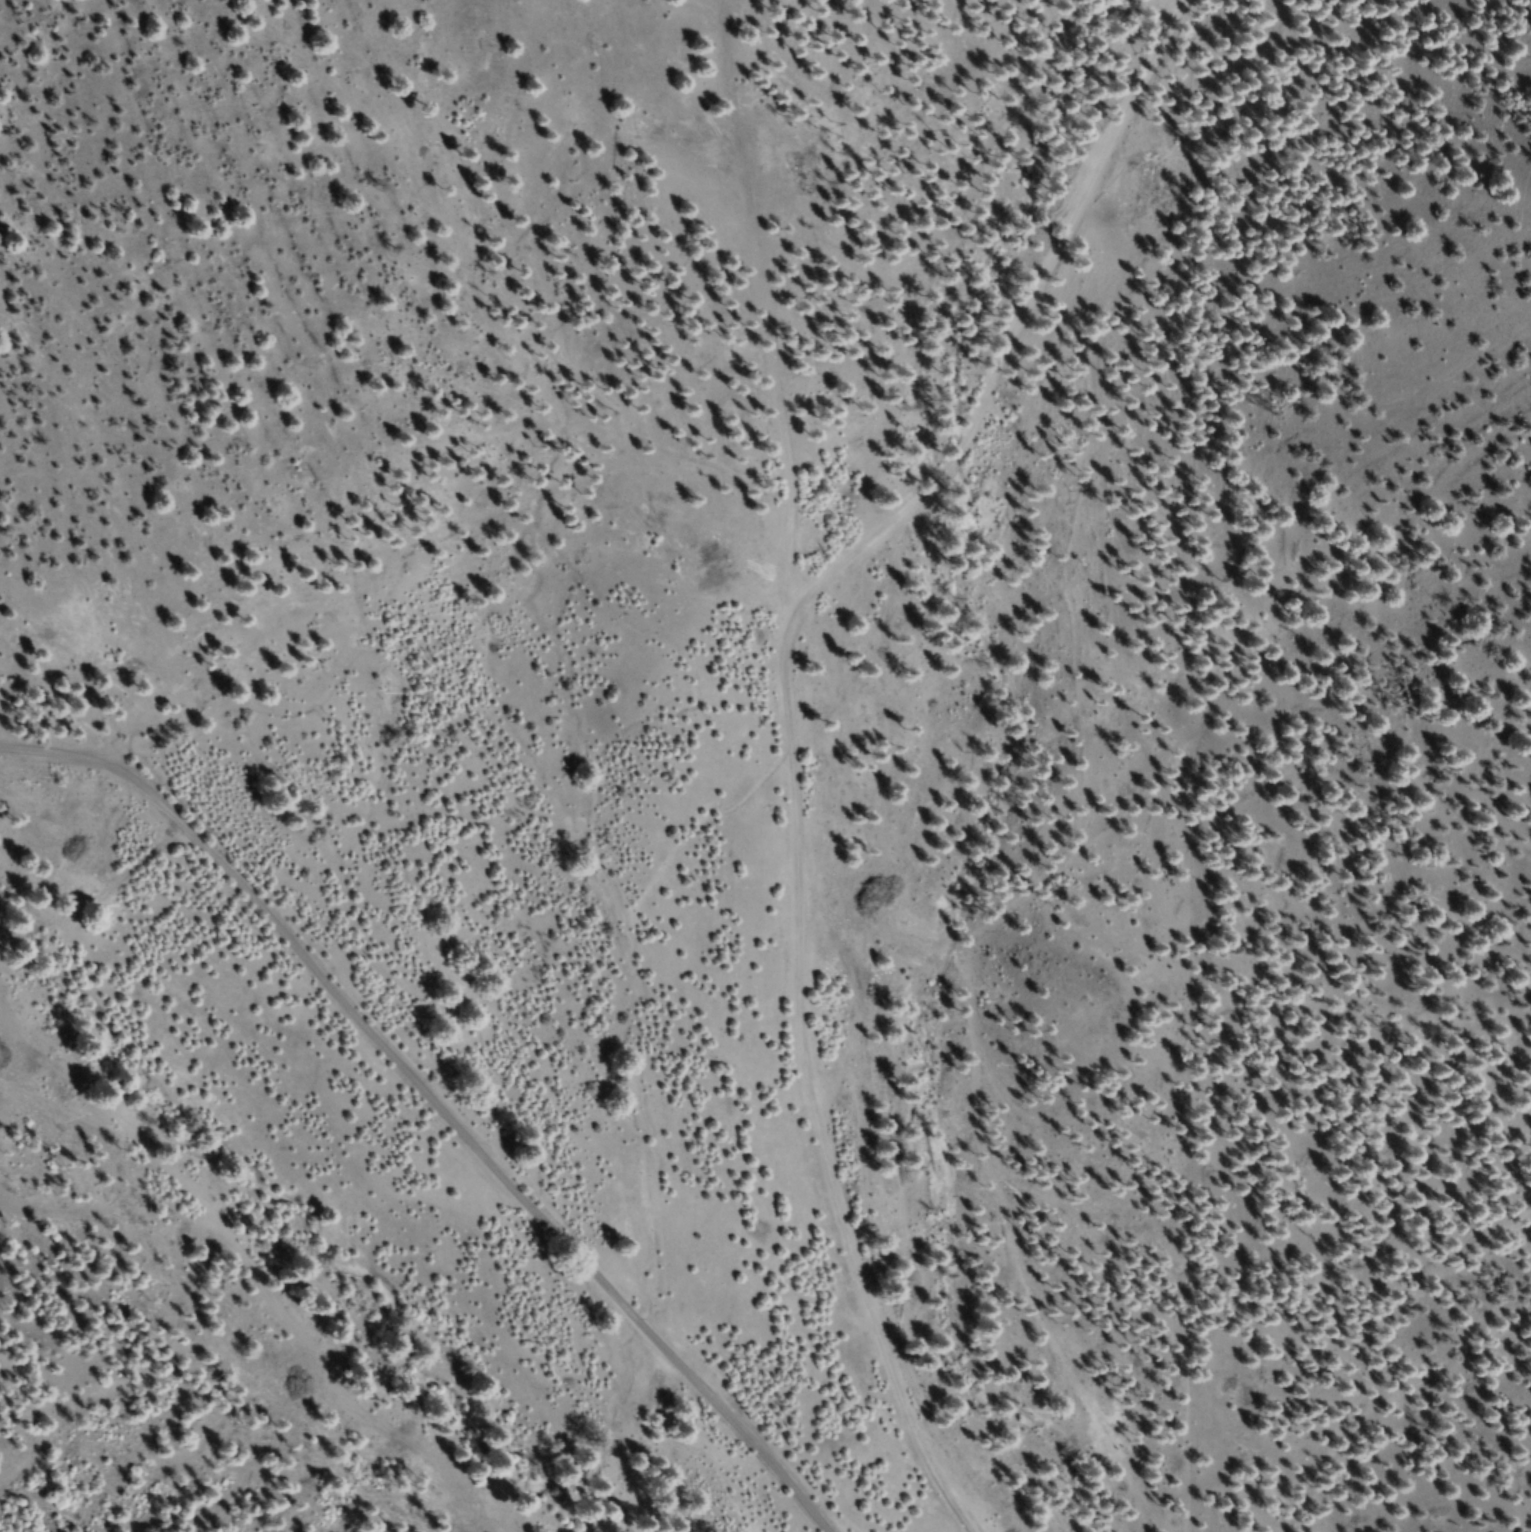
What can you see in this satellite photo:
road: (917, 755)
road: (437, 1104)

